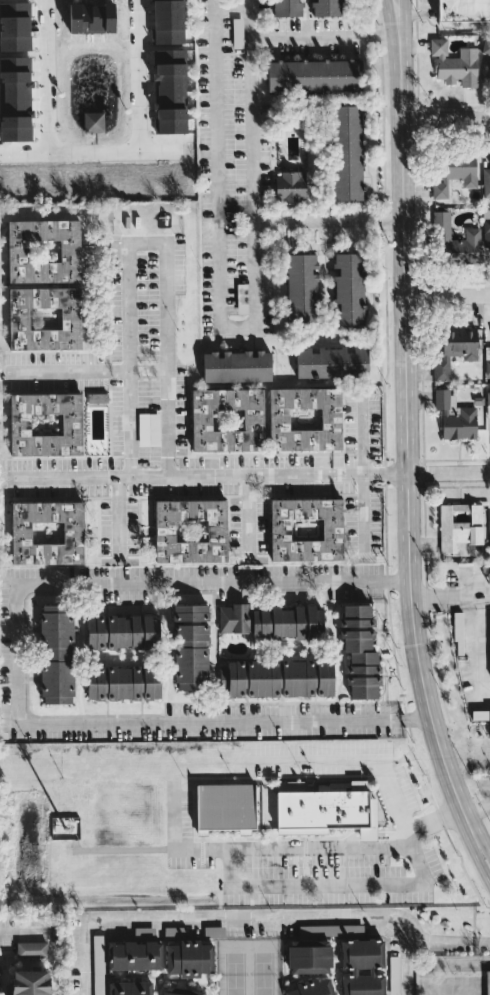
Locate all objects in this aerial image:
building: (326, 7)
building: (287, 8)
building: (463, 10)
road: (394, 17)
road: (401, 17)
building: (168, 21)
road: (324, 35)
building: (486, 46)
building: (455, 64)
road: (138, 75)
road: (45, 76)
building: (314, 76)
building: (170, 91)
road: (214, 112)
road: (444, 116)
building: (93, 121)
road: (156, 151)
road: (22, 152)
road: (93, 153)
building: (347, 153)
building: (456, 173)
building: (486, 182)
building: (291, 186)
road: (325, 219)
building: (486, 232)
building: (455, 241)
road: (143, 243)
building: (44, 285)
building: (301, 287)
building: (348, 290)
road: (446, 296)
building: (242, 308)
building: (455, 349)
building: (332, 362)
building: (237, 367)
road: (85, 370)
building: (488, 395)
building: (97, 397)
building: (455, 417)
building: (305, 419)
building: (227, 420)
building: (46, 424)
road: (405, 427)
building: (149, 429)
road: (448, 471)
road: (202, 473)
road: (364, 475)
road: (246, 516)
road: (117, 518)
building: (460, 525)
building: (306, 529)
building: (190, 531)
building: (489, 532)
building: (47, 533)
building: (488, 572)
road: (451, 595)
building: (357, 616)
building: (272, 621)
building: (458, 626)
building: (122, 632)
road: (15, 645)
building: (190, 647)
building: (360, 651)
building: (56, 654)
building: (277, 678)
building: (124, 683)
building: (364, 687)
building: (481, 715)
road: (416, 718)
road: (384, 766)
building: (225, 806)
building: (326, 808)
road: (477, 808)
road: (477, 831)
road: (472, 850)
road: (240, 885)
road: (216, 916)
building: (331, 930)
building: (215, 931)
building: (144, 932)
road: (24, 934)
road: (448, 938)
building: (31, 948)
building: (136, 955)
building: (309, 956)
building: (189, 958)
building: (98, 964)
road: (406, 965)
building: (363, 967)
road: (424, 973)
building: (488, 982)
building: (29, 983)
road: (486, 985)
building: (312, 987)
building: (130, 988)
building: (181, 991)

